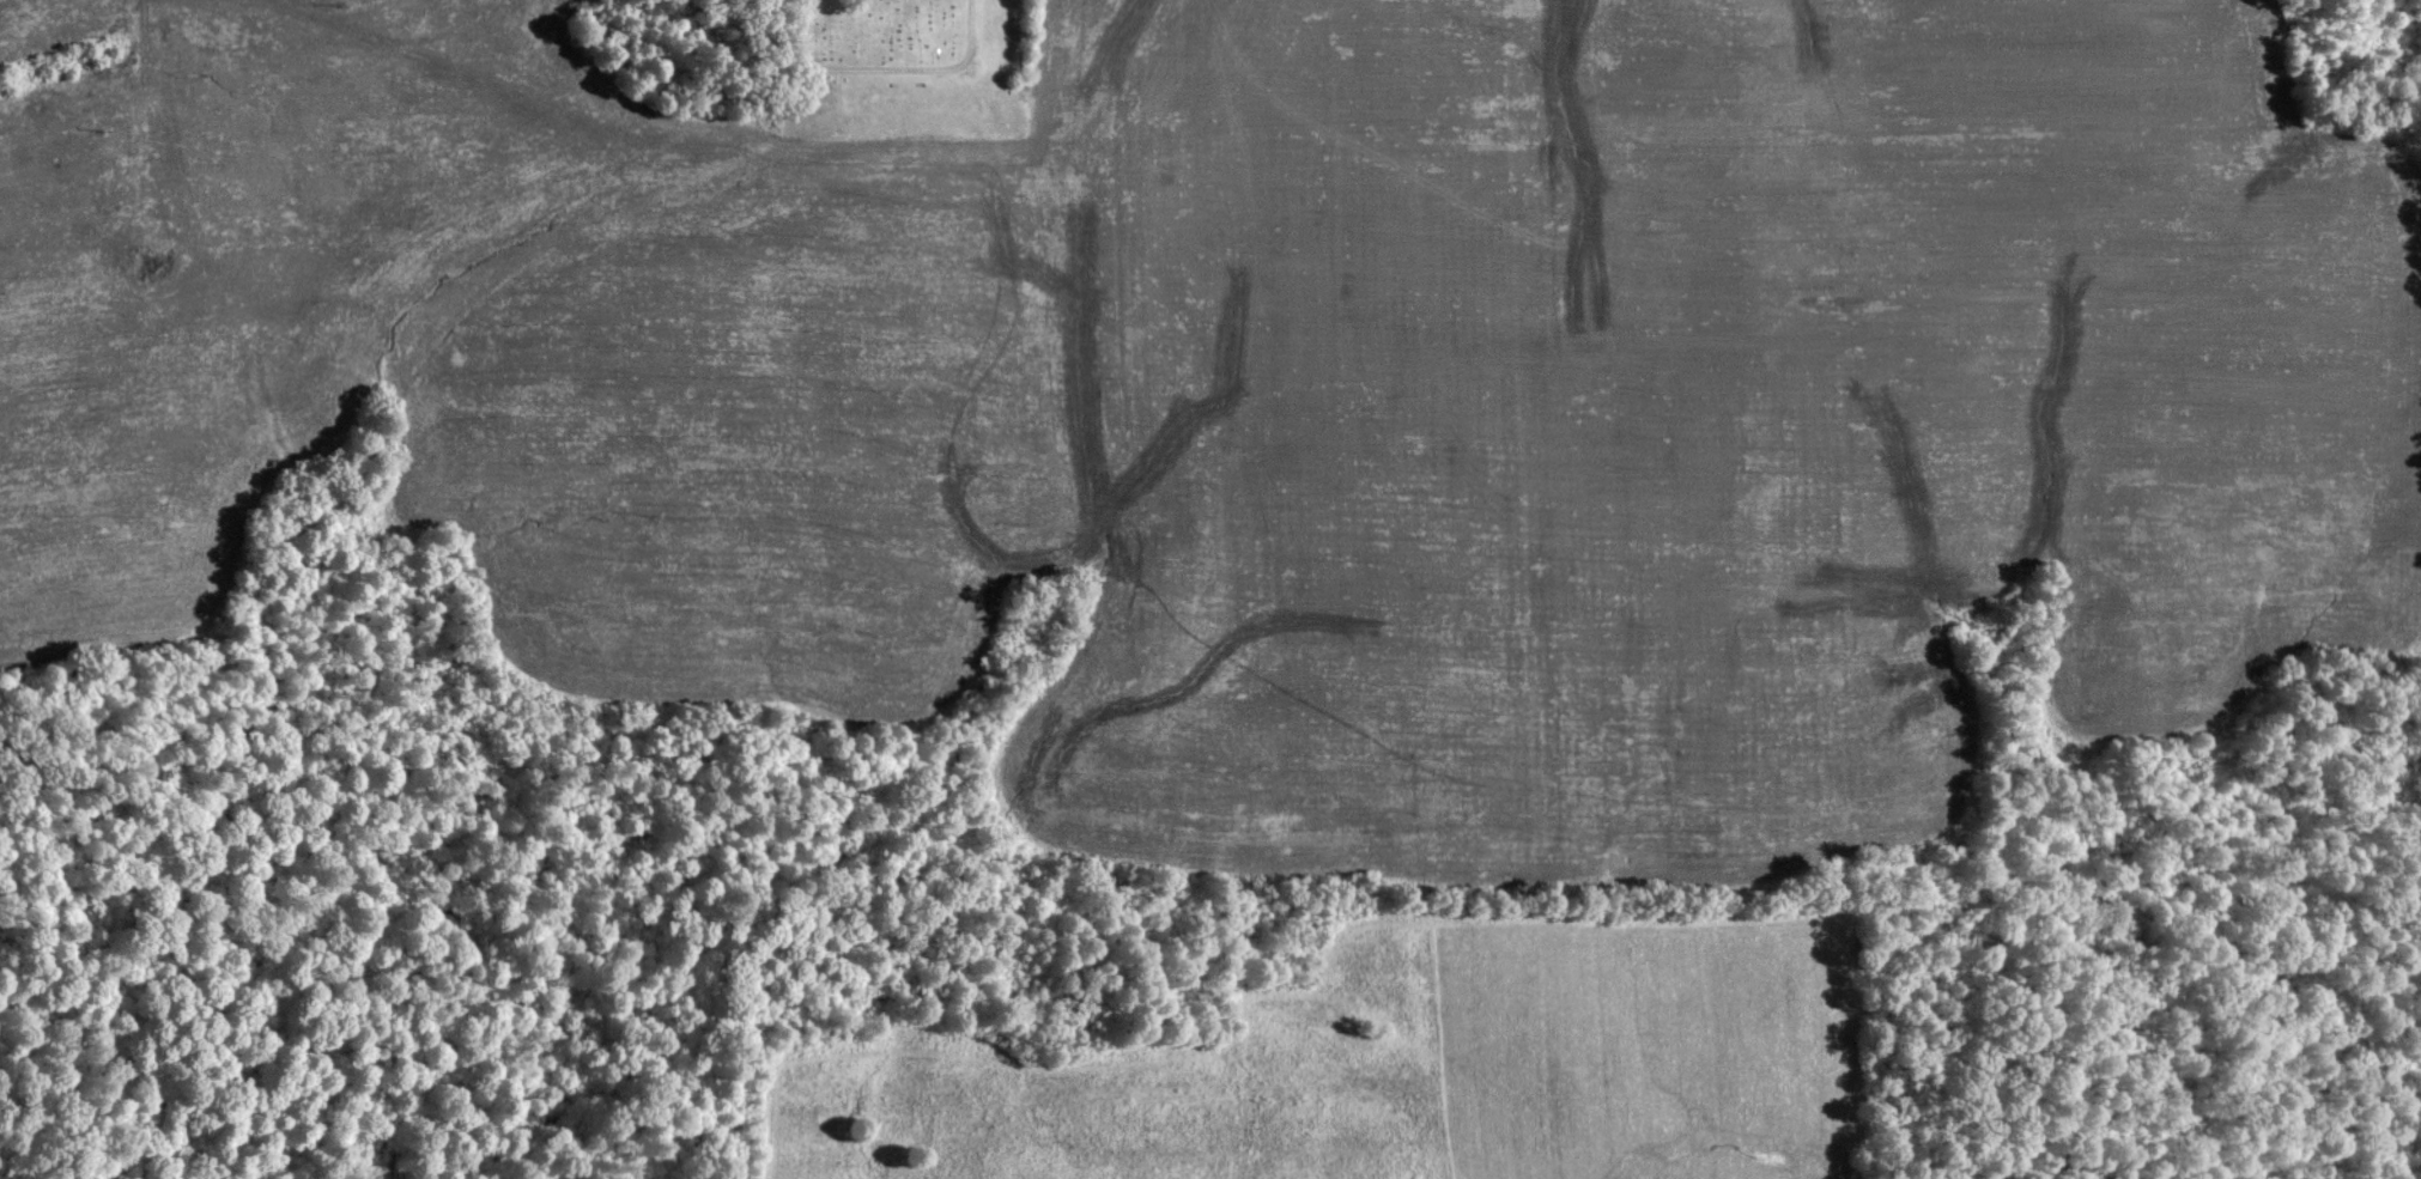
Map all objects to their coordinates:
park: (905, 67)
road: (880, 71)
building: (139, 262)

